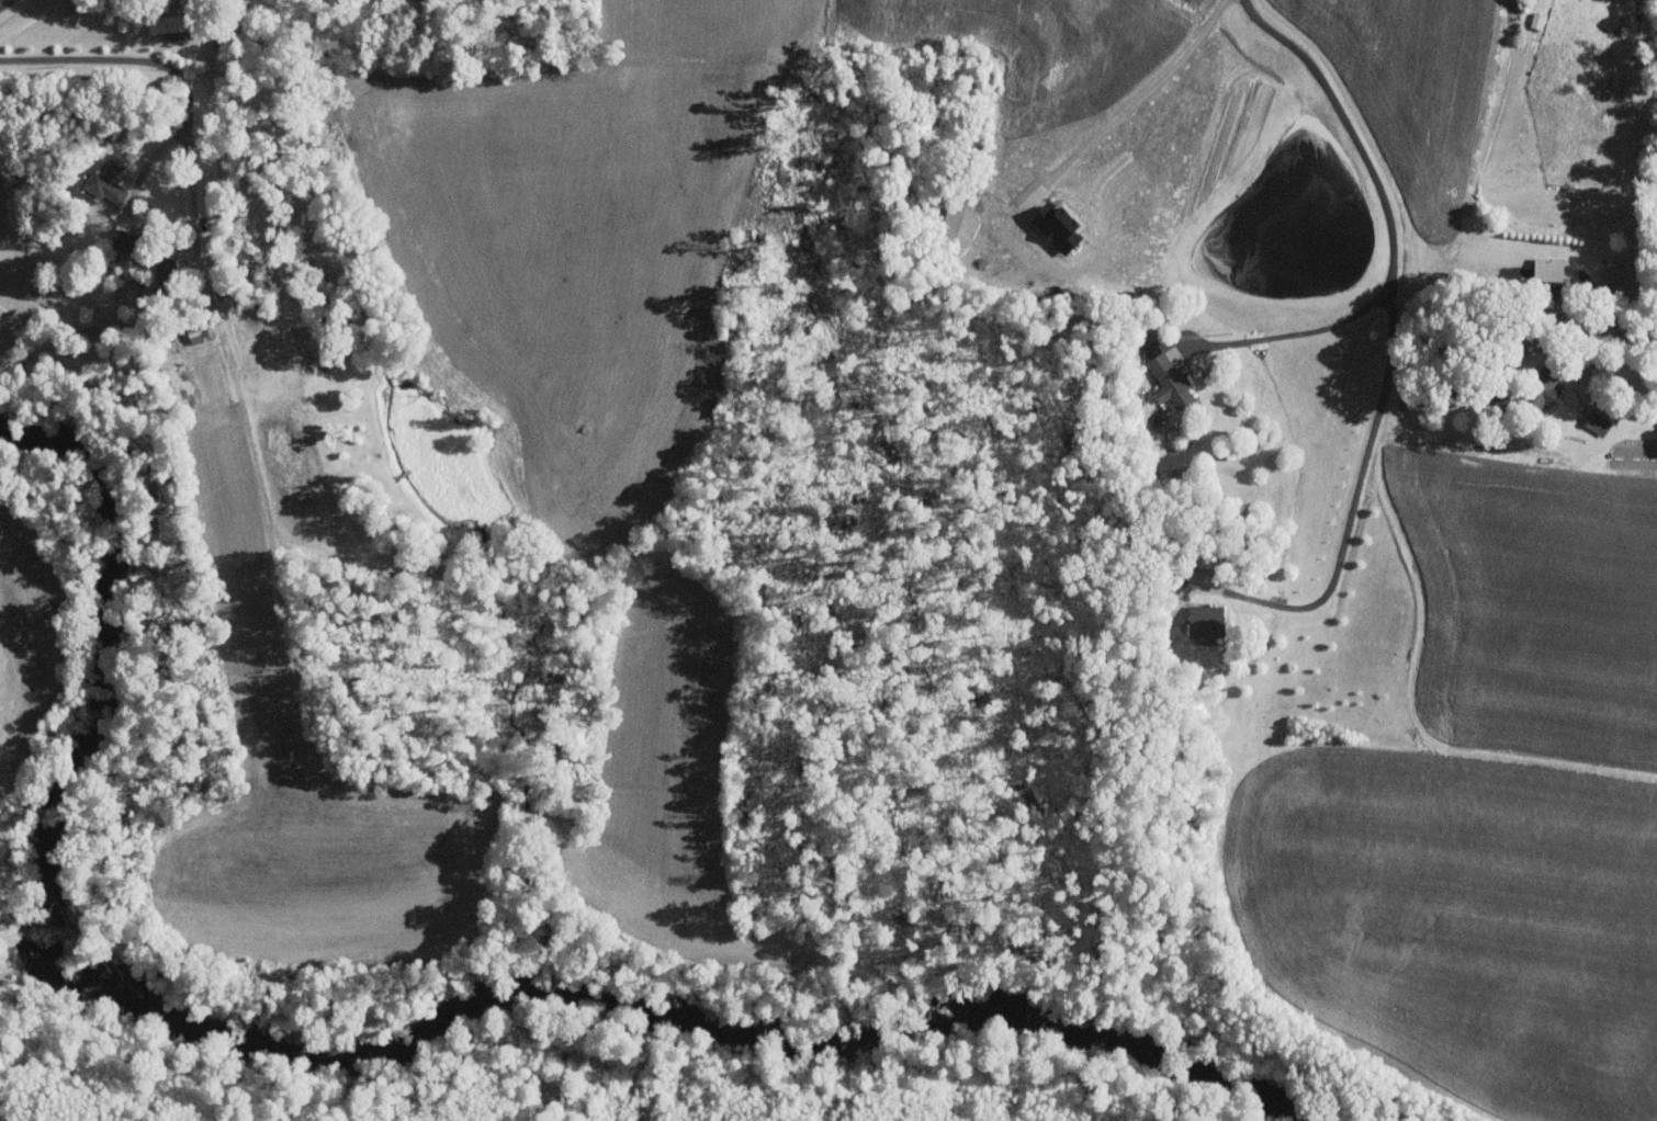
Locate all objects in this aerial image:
road: (3, 3)
building: (1538, 20)
building: (170, 23)
road: (1153, 91)
road: (187, 121)
building: (109, 183)
building: (128, 240)
building: (129, 267)
building: (1551, 268)
road: (1395, 326)
road: (1299, 329)
building: (1172, 378)
building: (1546, 386)
road: (1451, 388)
building: (1598, 421)
building: (1208, 555)
building: (1209, 620)

